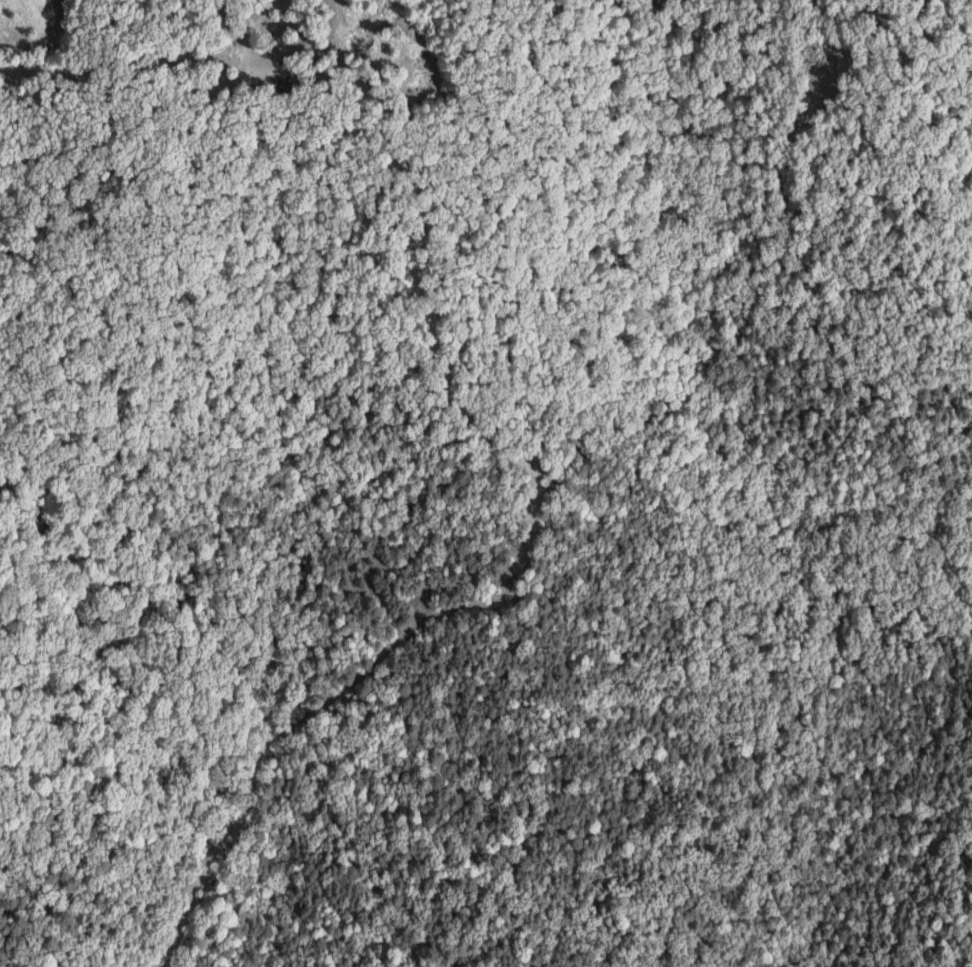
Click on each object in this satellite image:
road: (157, 99)

